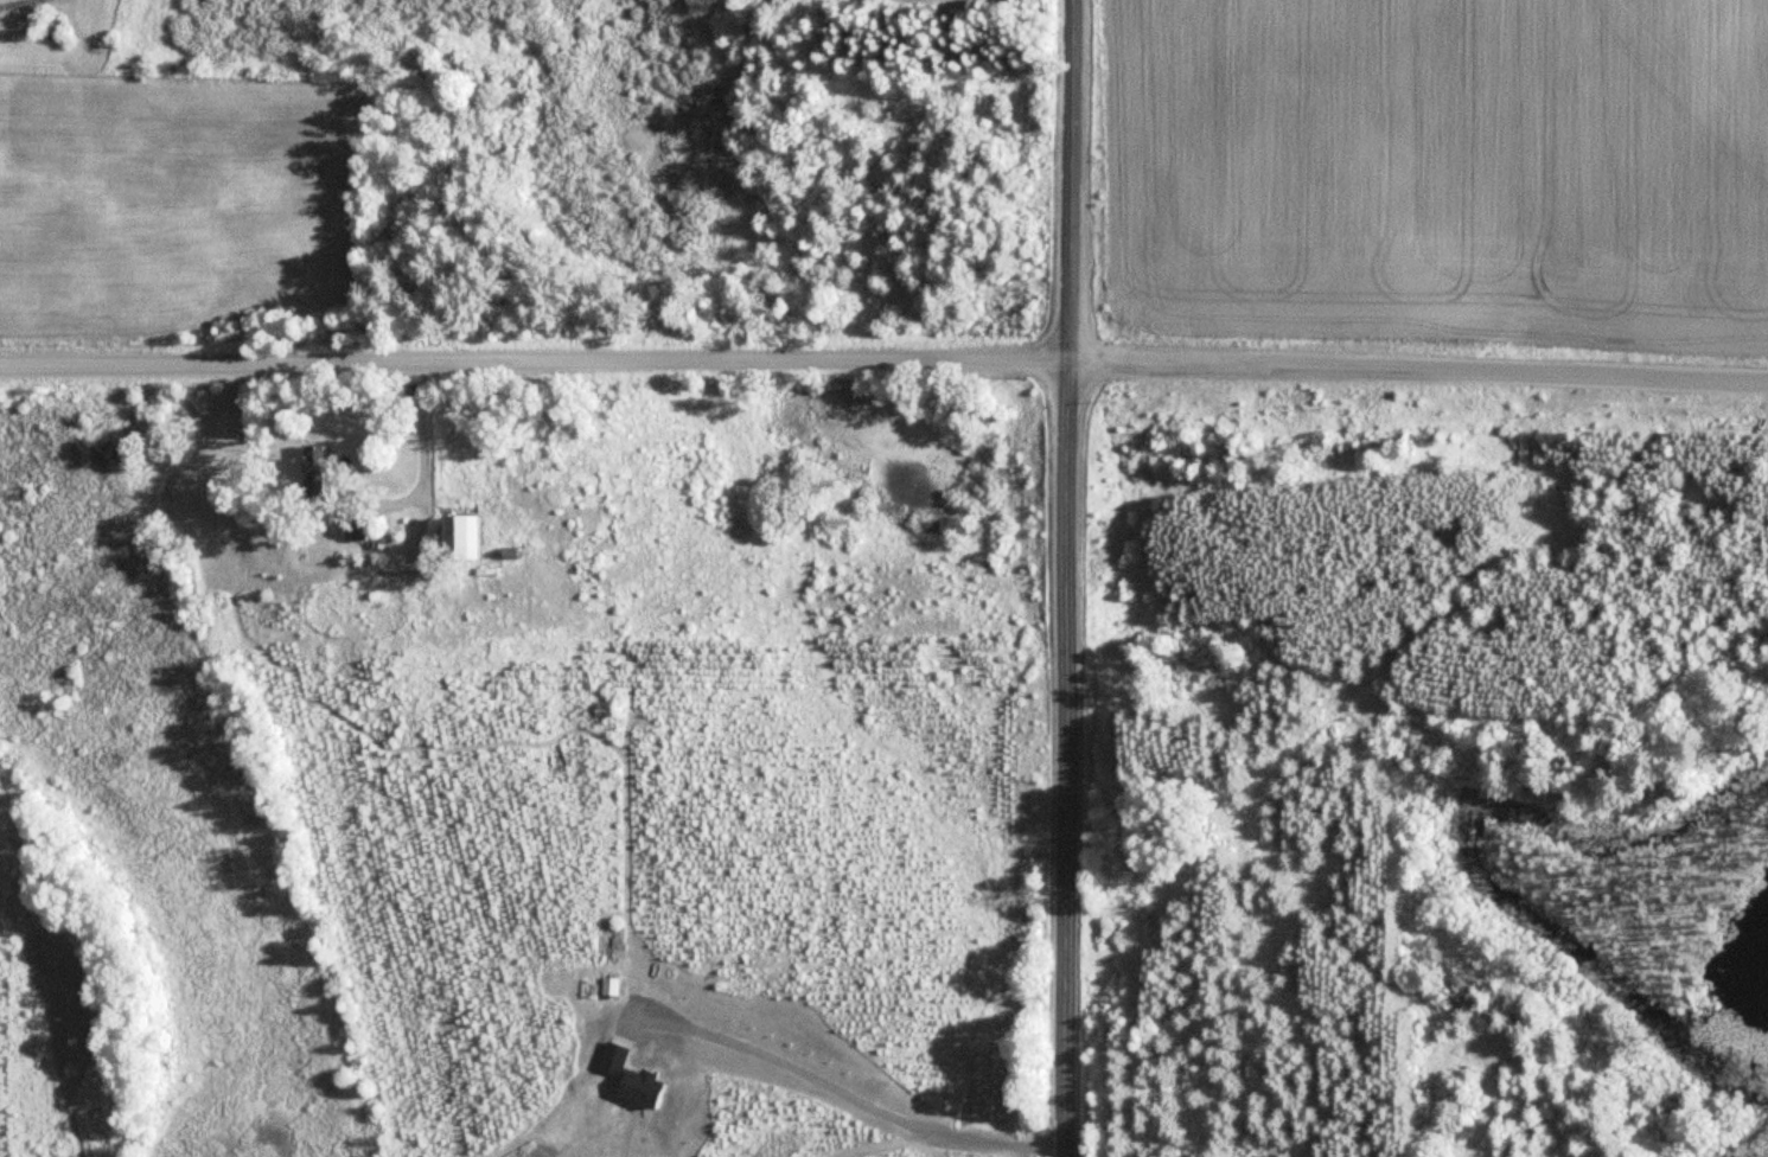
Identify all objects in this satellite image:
road: (883, 358)
building: (313, 469)
building: (357, 528)
building: (460, 536)
road: (1066, 578)

